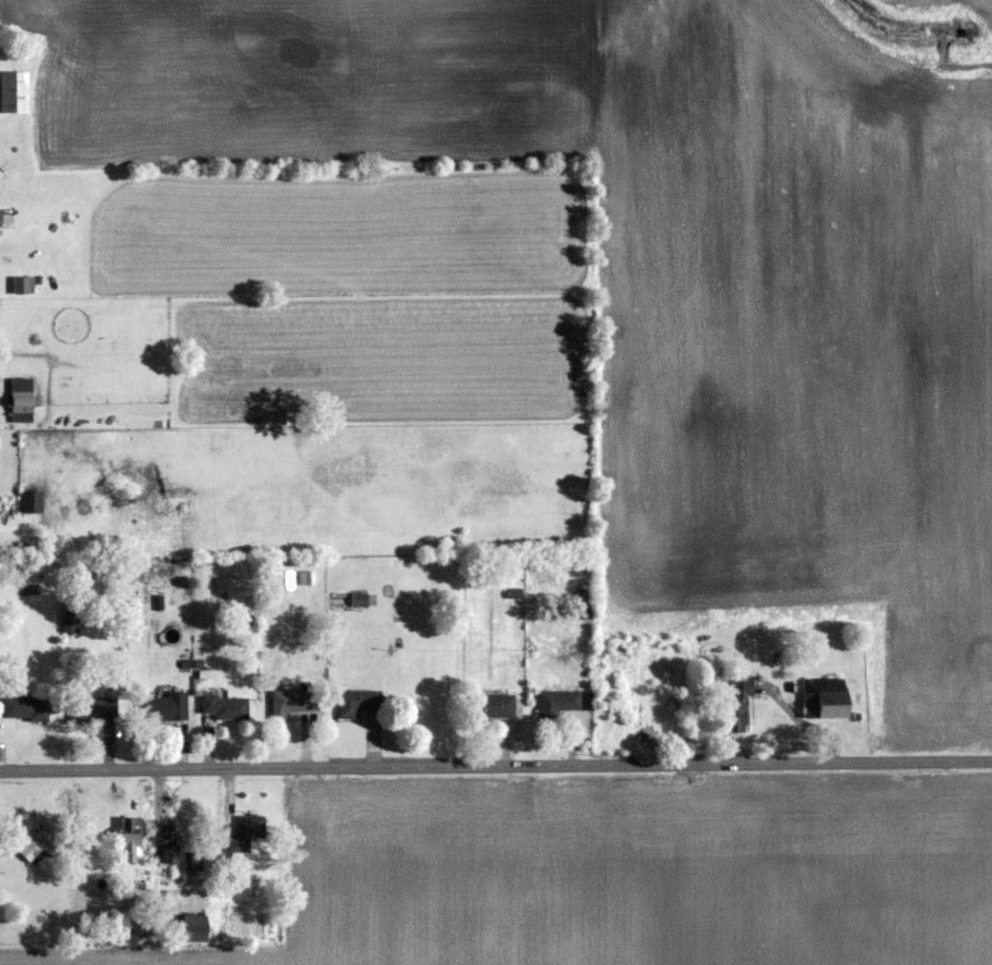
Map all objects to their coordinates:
building: (13, 93)
building: (22, 285)
building: (21, 384)
building: (21, 409)
building: (31, 501)
building: (514, 594)
building: (359, 600)
building: (584, 603)
building: (69, 623)
building: (823, 697)
building: (292, 701)
building: (557, 702)
building: (357, 703)
building: (492, 705)
building: (164, 706)
building: (737, 706)
building: (225, 707)
building: (24, 708)
building: (92, 708)
road: (496, 768)
building: (245, 832)
building: (129, 837)
building: (39, 843)
building: (170, 853)
building: (193, 860)
building: (192, 927)

